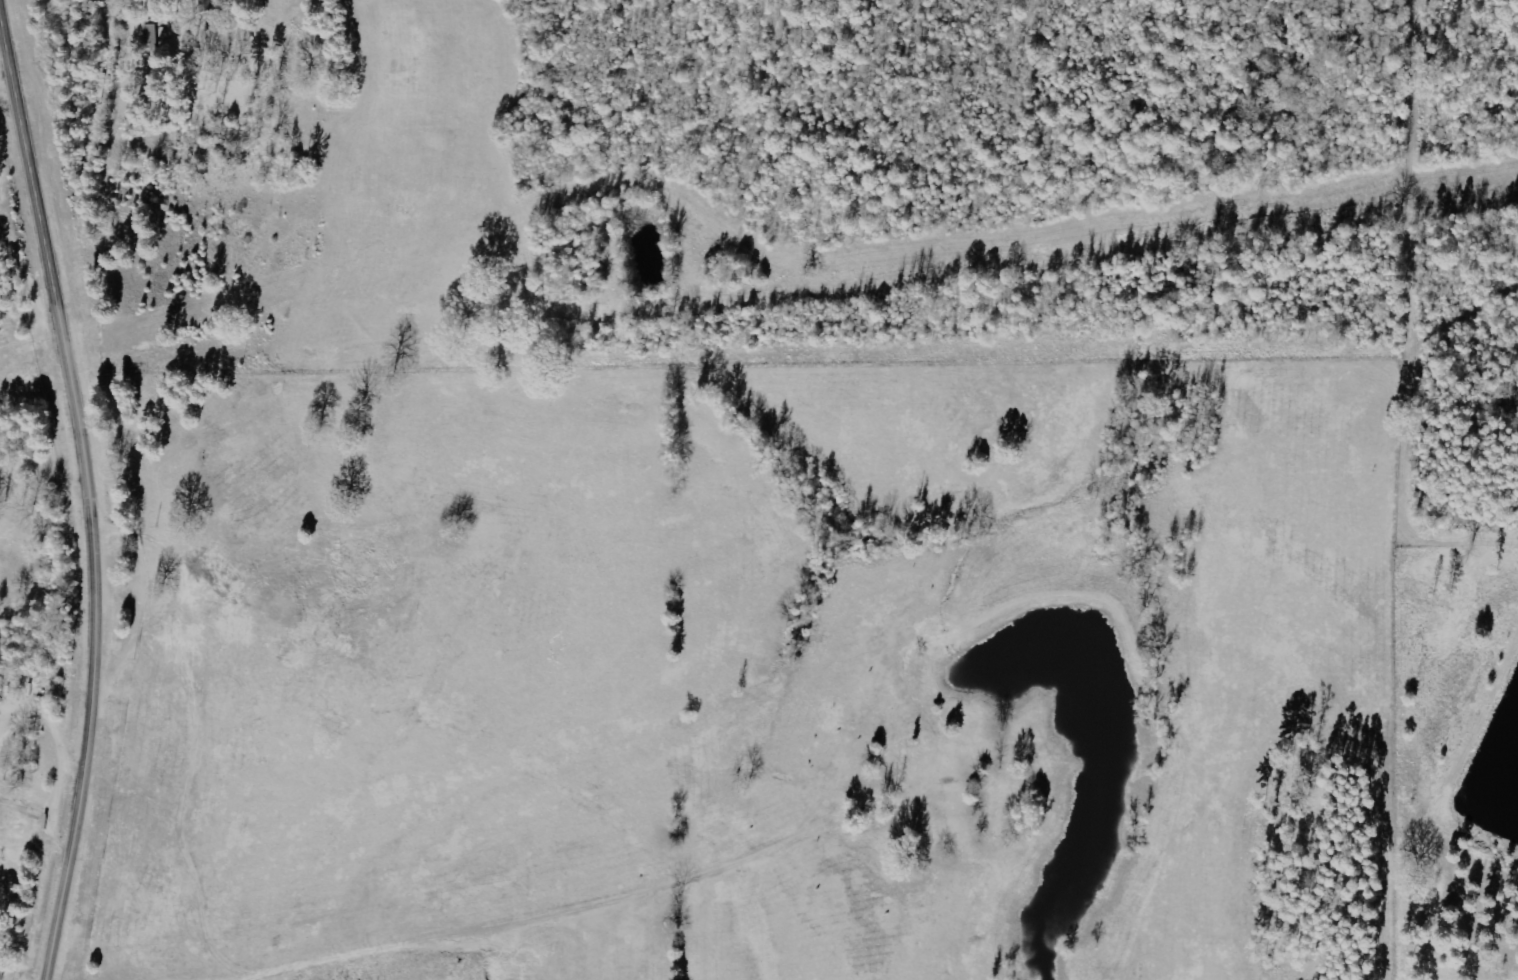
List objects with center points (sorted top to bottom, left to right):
building: (210, 6)
building: (220, 42)
road: (94, 488)
road: (50, 662)
building: (4, 964)

